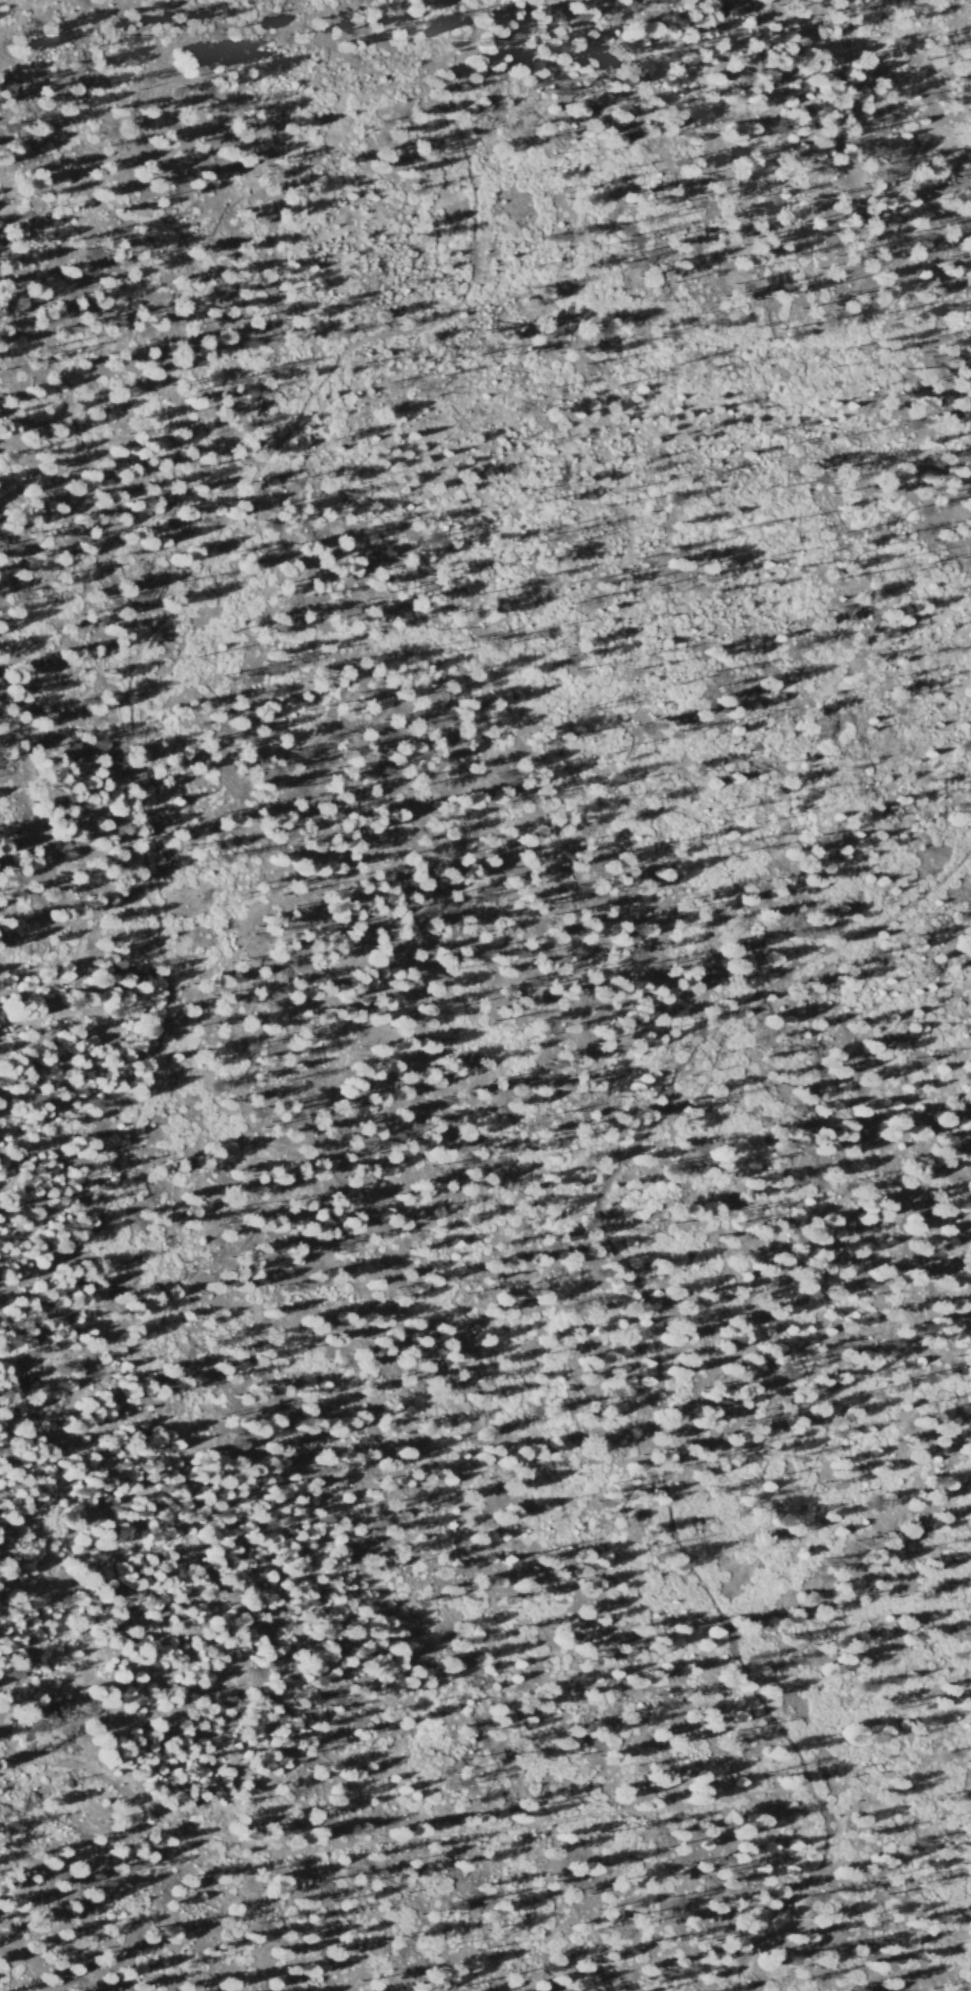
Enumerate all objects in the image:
road: (255, 415)
road: (628, 1277)
road: (389, 1859)
road: (811, 1906)

